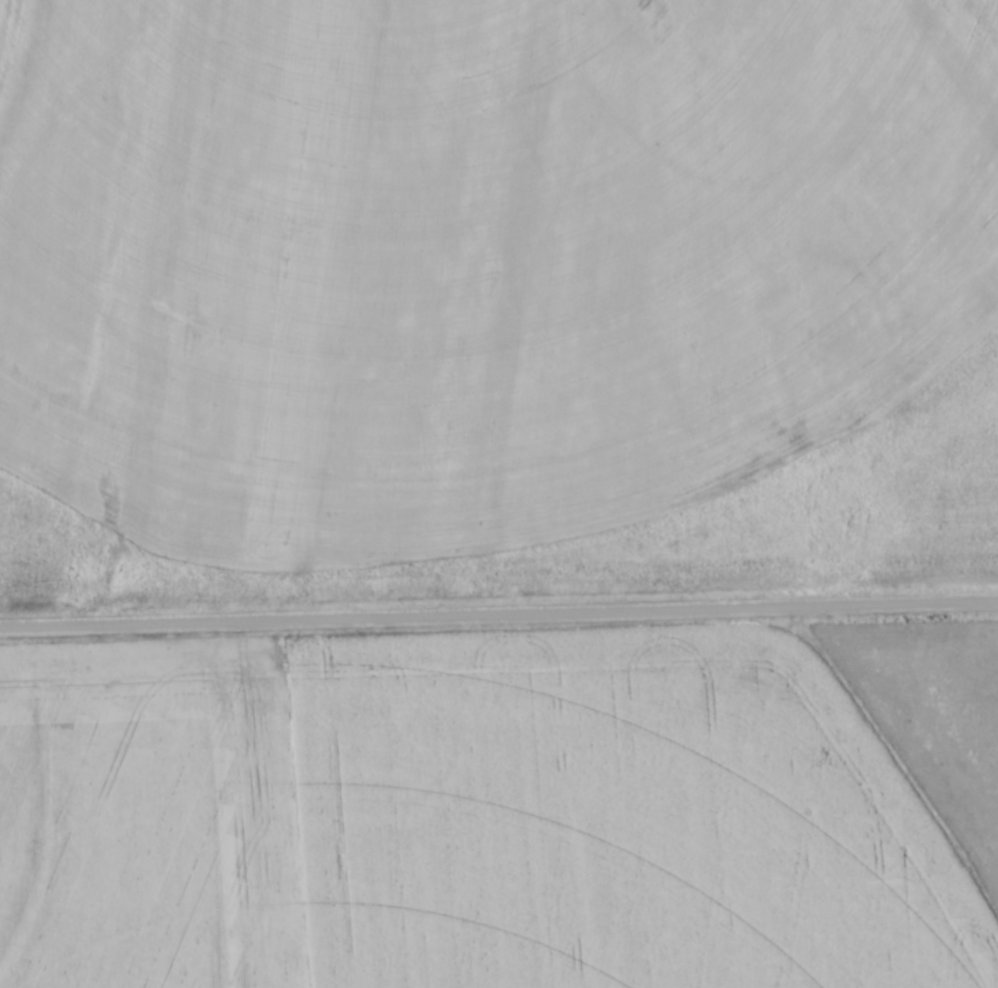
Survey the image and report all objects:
road: (499, 614)

